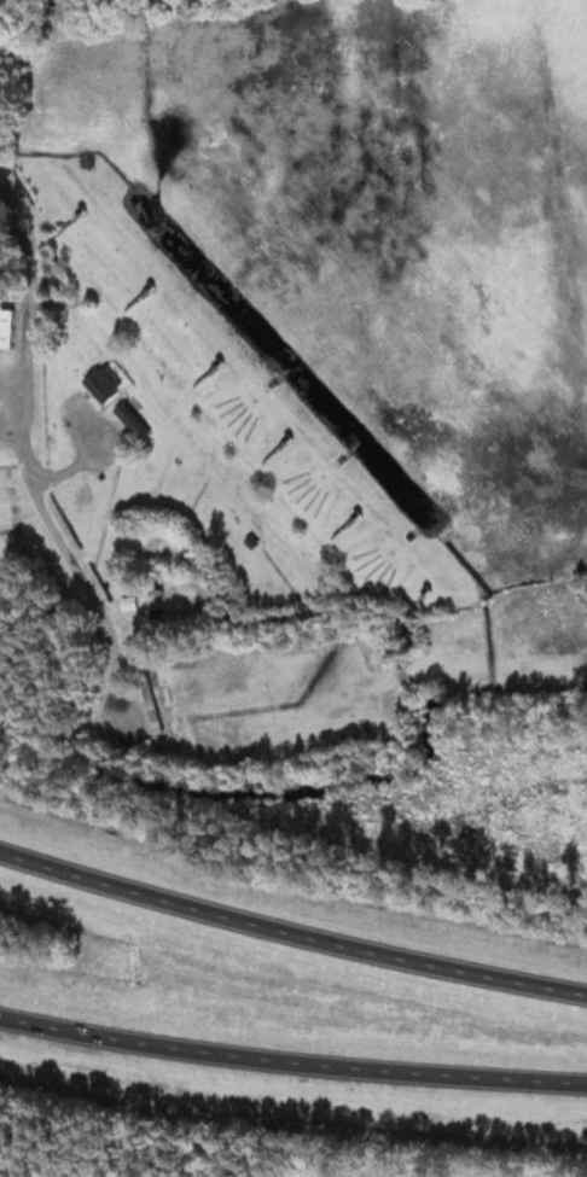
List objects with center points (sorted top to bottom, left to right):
building: (101, 383)
building: (132, 420)
road: (31, 461)
building: (129, 604)
building: (151, 706)
road: (290, 932)
road: (292, 1060)

